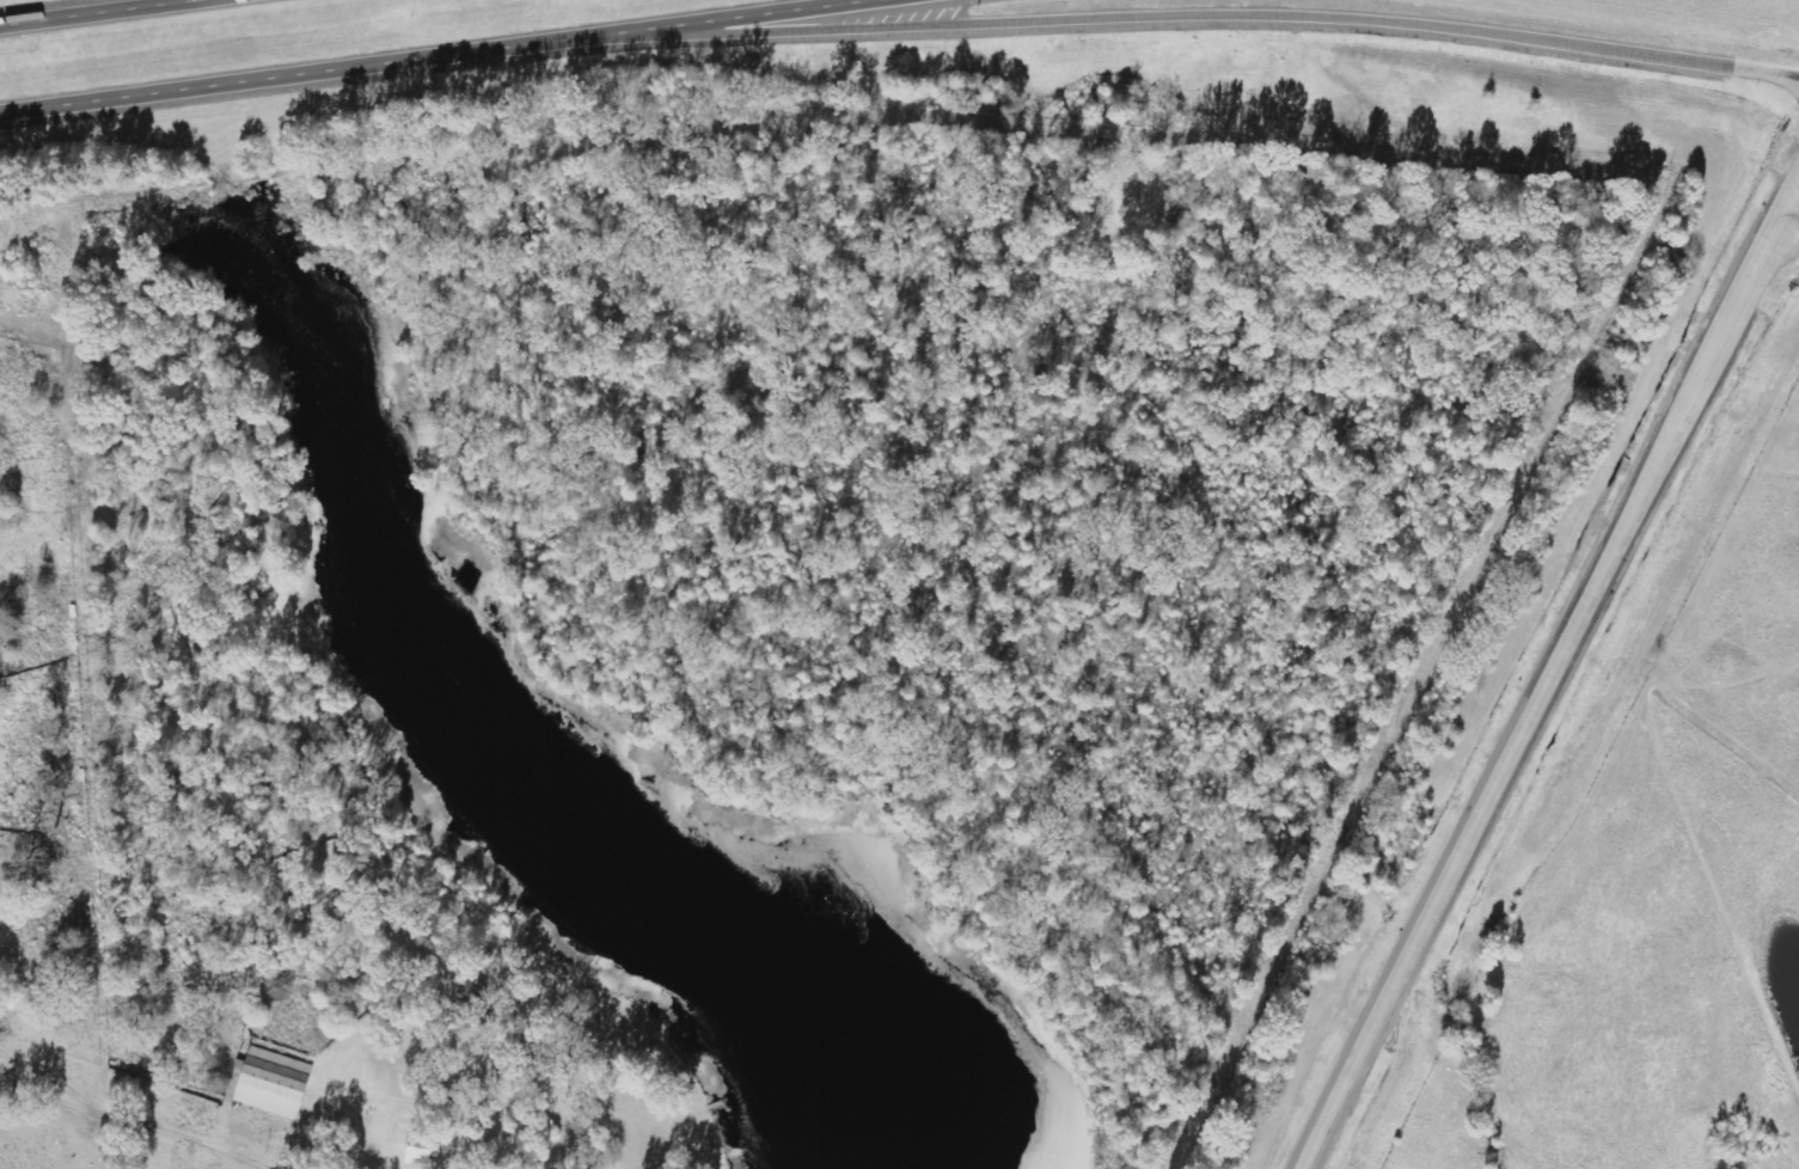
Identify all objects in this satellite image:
road: (86, 11)
road: (1180, 11)
road: (428, 56)
road: (1783, 241)
road: (1549, 674)
building: (275, 1083)
building: (423, 1150)

